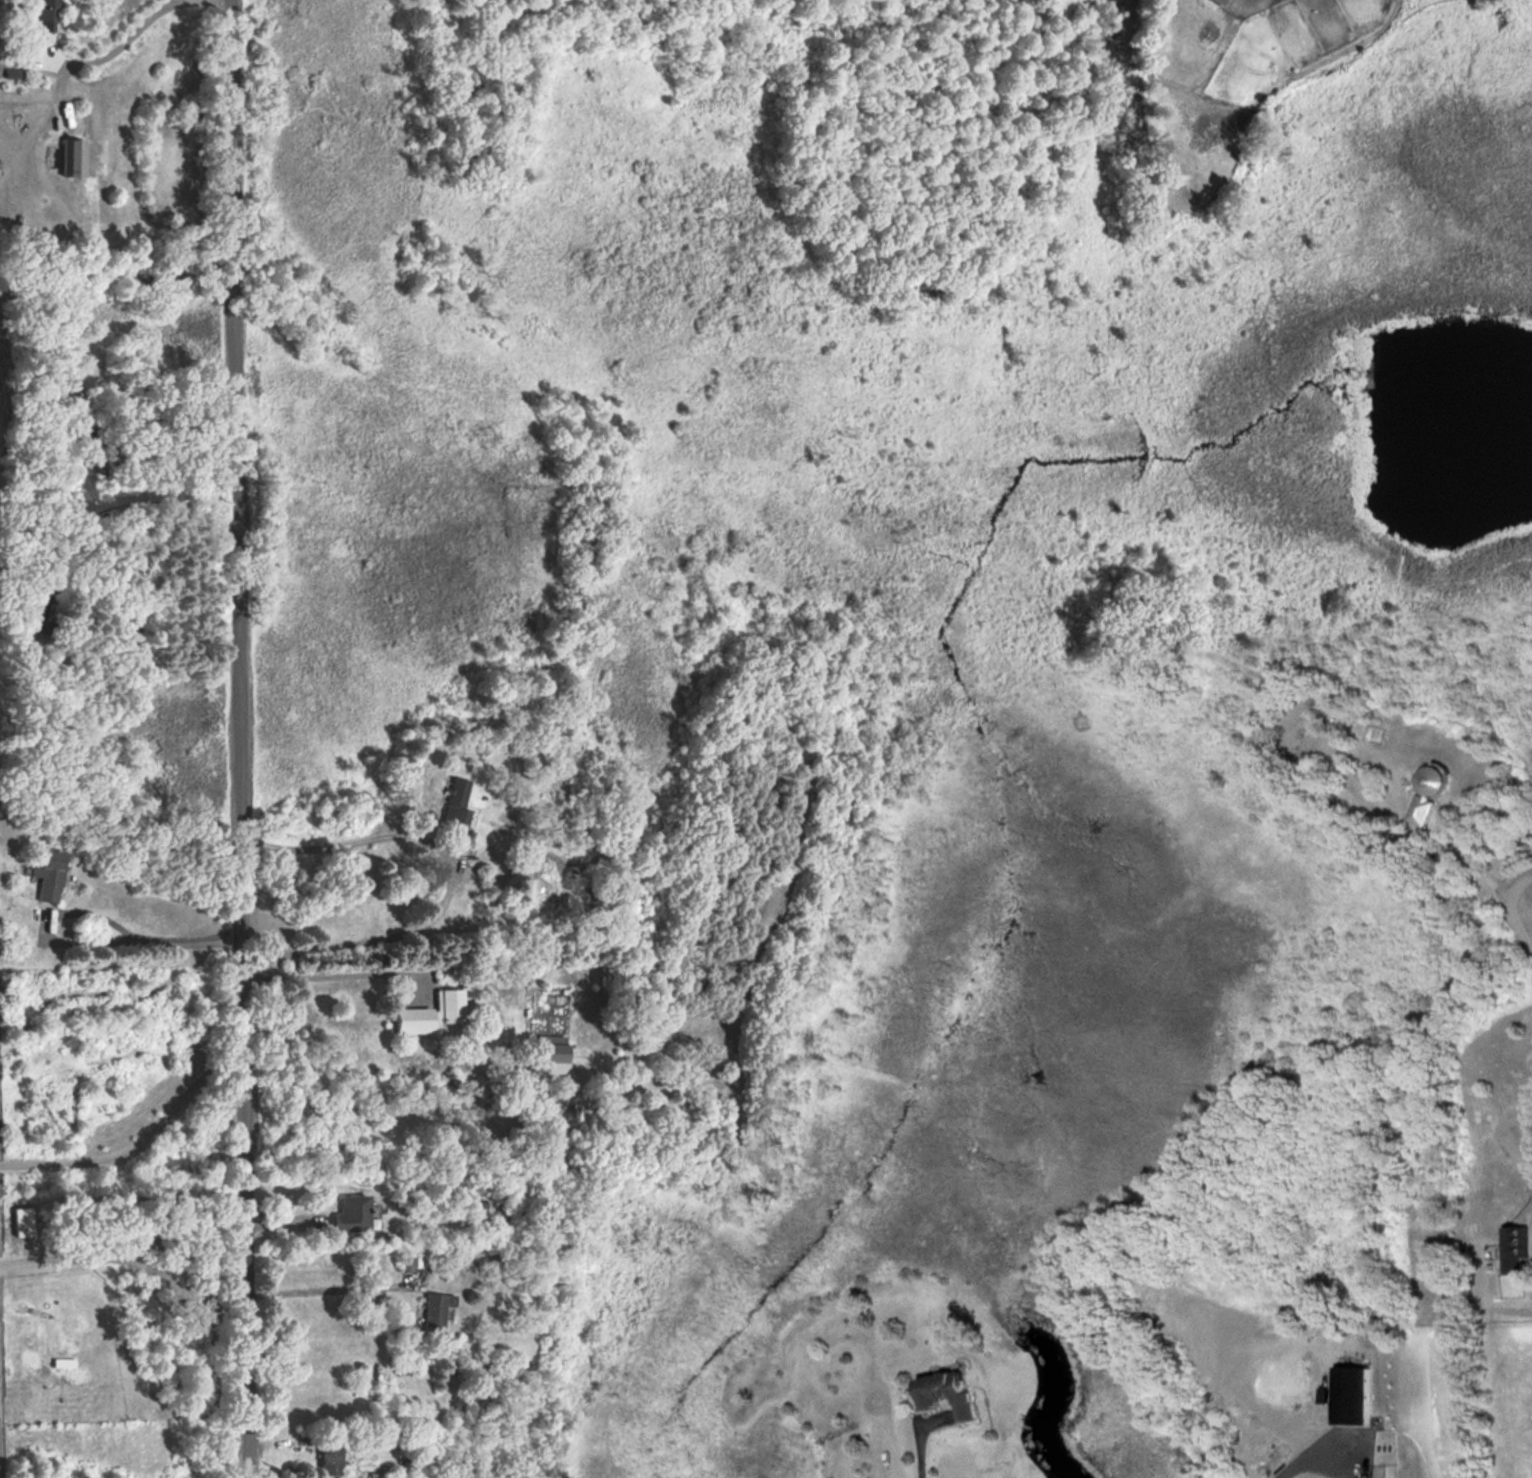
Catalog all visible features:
building: (45, 14)
road: (123, 43)
building: (68, 156)
road: (114, 273)
road: (239, 738)
building: (1433, 794)
building: (454, 799)
road: (338, 841)
road: (1483, 868)
building: (48, 874)
road: (383, 936)
road: (129, 941)
road: (331, 976)
building: (449, 1005)
building: (412, 1019)
building: (552, 1047)
road: (135, 1144)
building: (352, 1212)
building: (1518, 1248)
road: (125, 1257)
road: (321, 1289)
building: (434, 1312)
building: (953, 1390)
building: (1354, 1392)
road: (924, 1455)
road: (1302, 1457)
building: (328, 1458)
building: (376, 1474)

